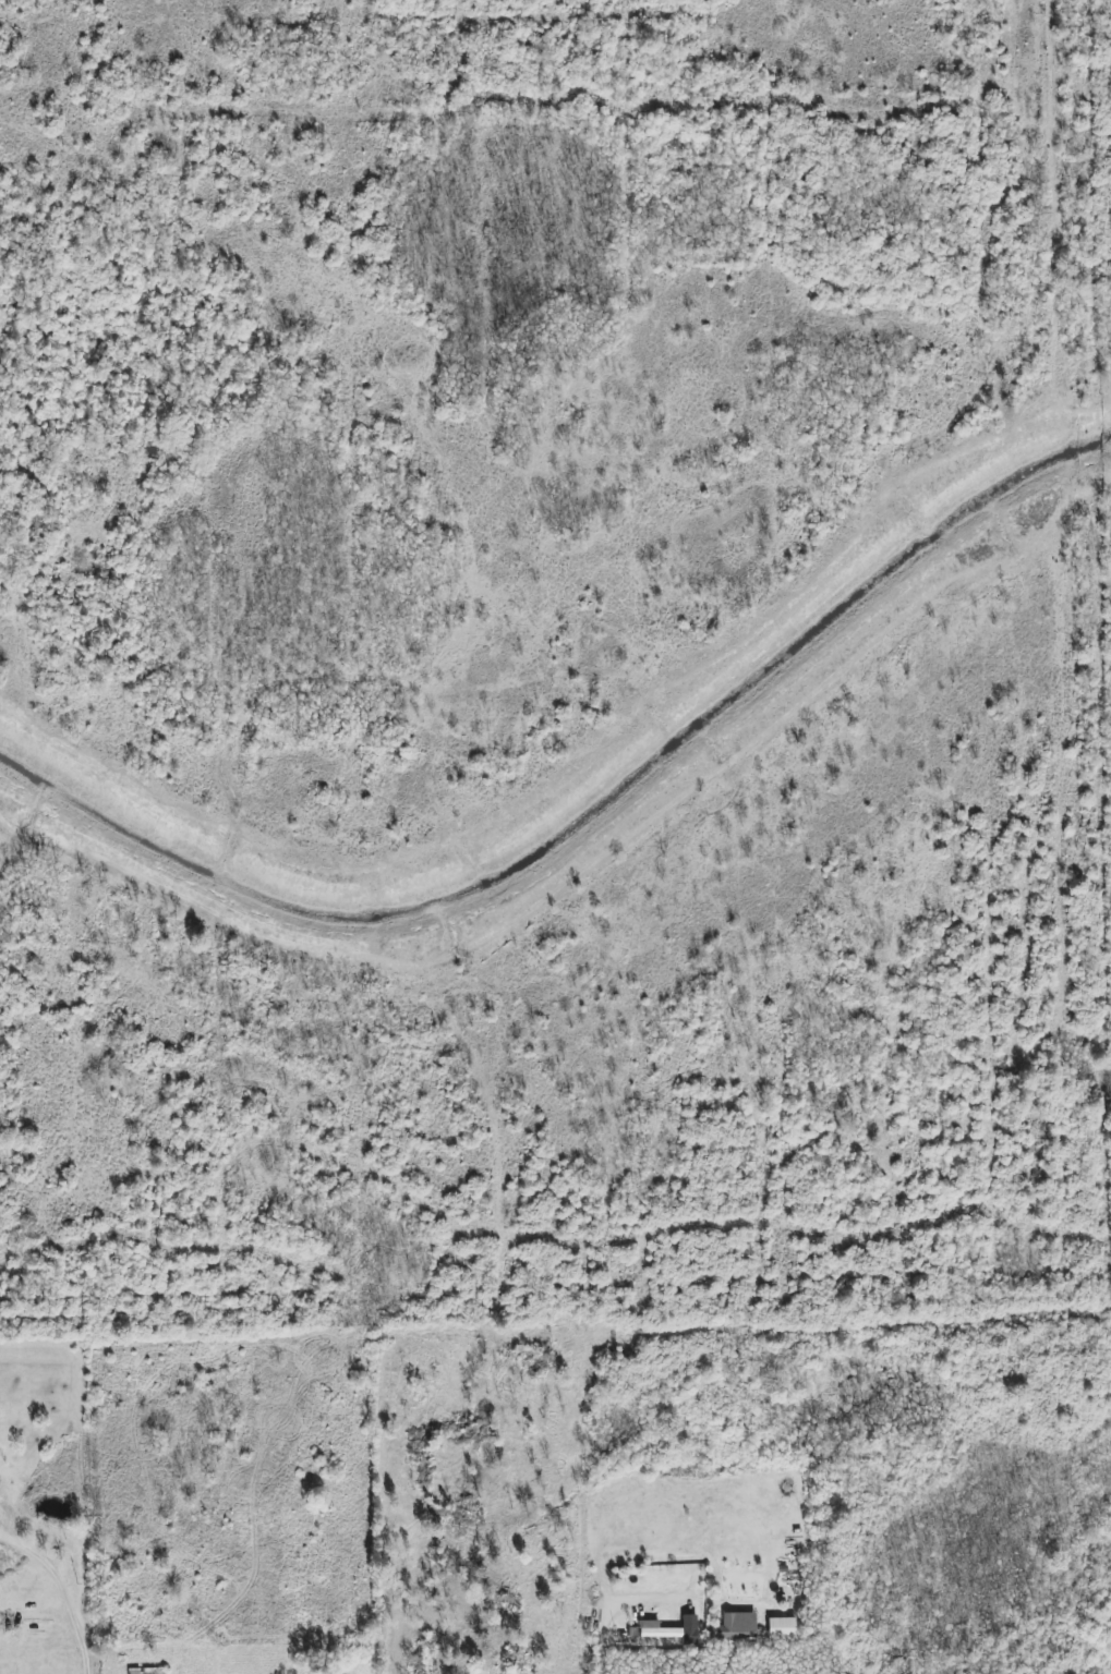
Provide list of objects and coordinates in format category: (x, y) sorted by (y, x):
road: (71, 1584)
road: (642, 1601)
road: (728, 1601)
building: (735, 1626)
building: (782, 1628)
building: (672, 1629)
road: (599, 1645)
building: (148, 1671)

